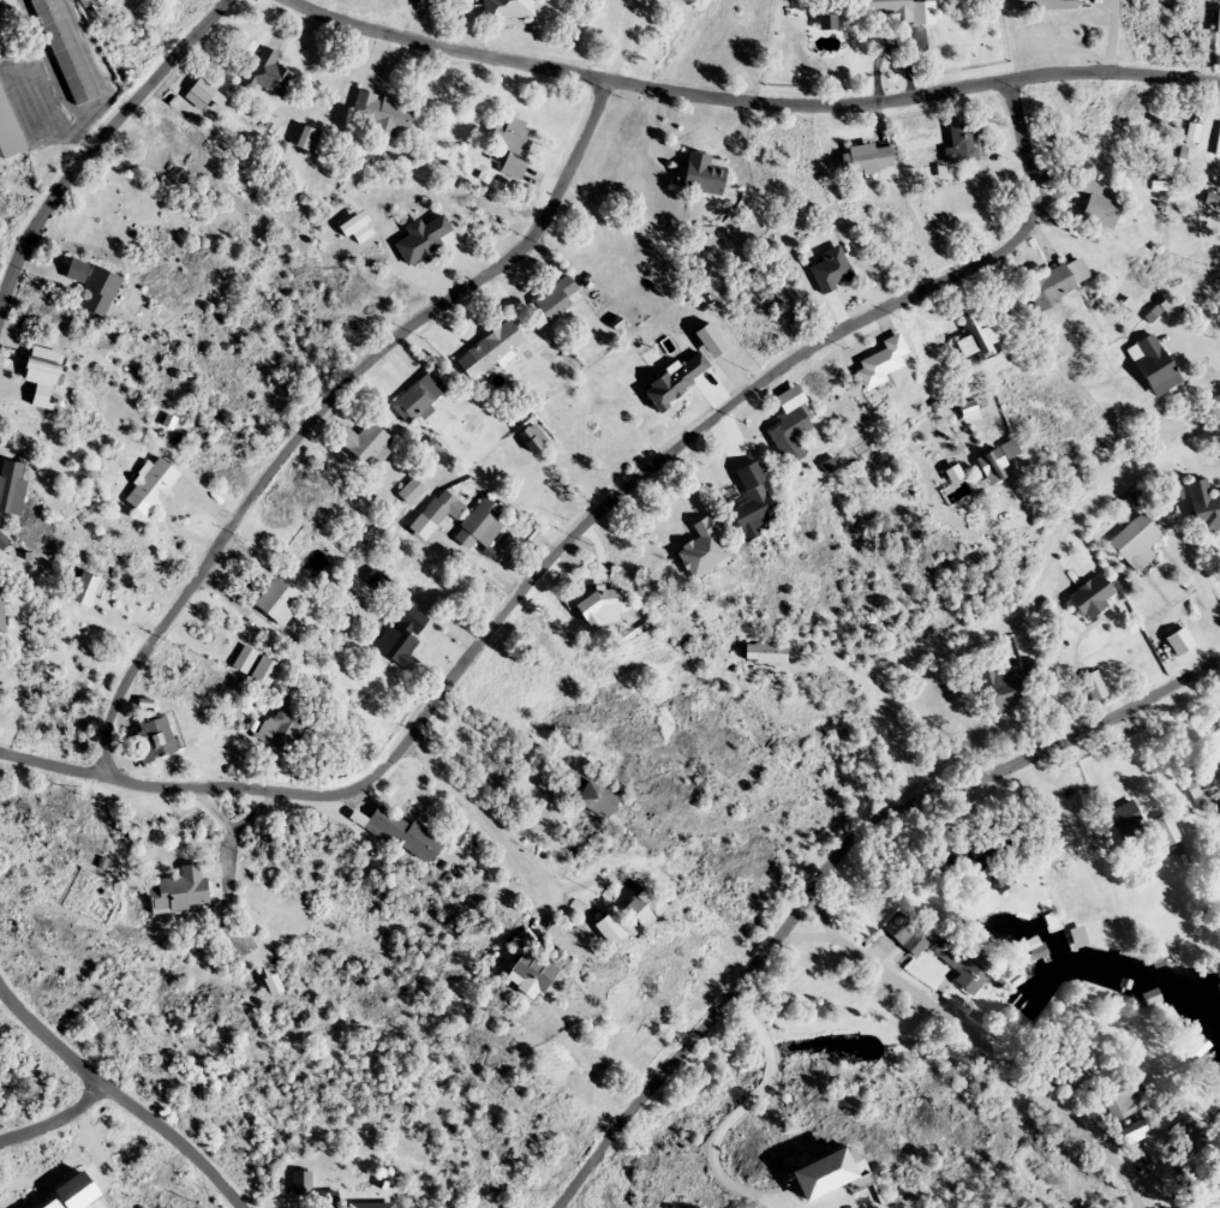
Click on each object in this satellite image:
building: (101, 1)
building: (1046, 5)
building: (887, 7)
building: (509, 8)
road: (1102, 35)
road: (614, 41)
building: (65, 50)
road: (36, 53)
building: (269, 73)
building: (199, 94)
road: (742, 97)
building: (382, 115)
building: (8, 130)
building: (512, 137)
road: (92, 139)
building: (967, 145)
building: (867, 159)
building: (514, 168)
building: (706, 174)
building: (1100, 204)
building: (357, 228)
building: (423, 240)
building: (831, 269)
building: (1055, 283)
building: (95, 286)
building: (556, 298)
building: (979, 339)
building: (491, 351)
building: (883, 361)
building: (1155, 365)
building: (44, 376)
building: (418, 397)
road: (319, 403)
building: (970, 413)
building: (793, 424)
building: (365, 442)
building: (998, 462)
building: (155, 483)
building: (13, 485)
building: (411, 490)
building: (1204, 504)
building: (756, 508)
building: (436, 514)
building: (480, 525)
road: (575, 528)
building: (1137, 543)
building: (704, 548)
building: (86, 590)
building: (1093, 597)
building: (277, 602)
road: (1009, 604)
building: (1, 608)
building: (604, 608)
building: (403, 635)
building: (766, 653)
building: (244, 659)
building: (265, 671)
building: (1029, 671)
building: (1094, 686)
building: (1003, 689)
building: (282, 730)
building: (155, 737)
building: (1207, 785)
building: (598, 799)
road: (251, 812)
building: (1126, 817)
road: (486, 826)
building: (1167, 831)
building: (405, 832)
road: (226, 833)
building: (995, 844)
road: (827, 859)
building: (180, 890)
building: (646, 905)
building: (611, 928)
building: (908, 934)
building: (1034, 947)
building: (968, 965)
building: (532, 974)
road: (976, 1043)
building: (1072, 1076)
building: (1122, 1100)
road: (115, 1102)
road: (736, 1116)
road: (50, 1118)
building: (1132, 1132)
building: (1186, 1134)
building: (826, 1173)
building: (301, 1182)
building: (329, 1198)
building: (371, 1204)

